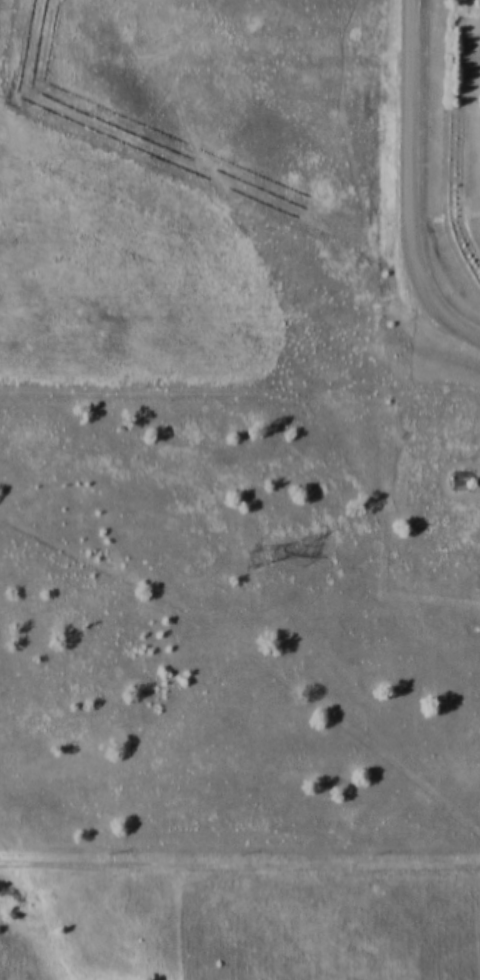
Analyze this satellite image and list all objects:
road: (416, 180)
power tower: (257, 553)
road: (240, 858)

